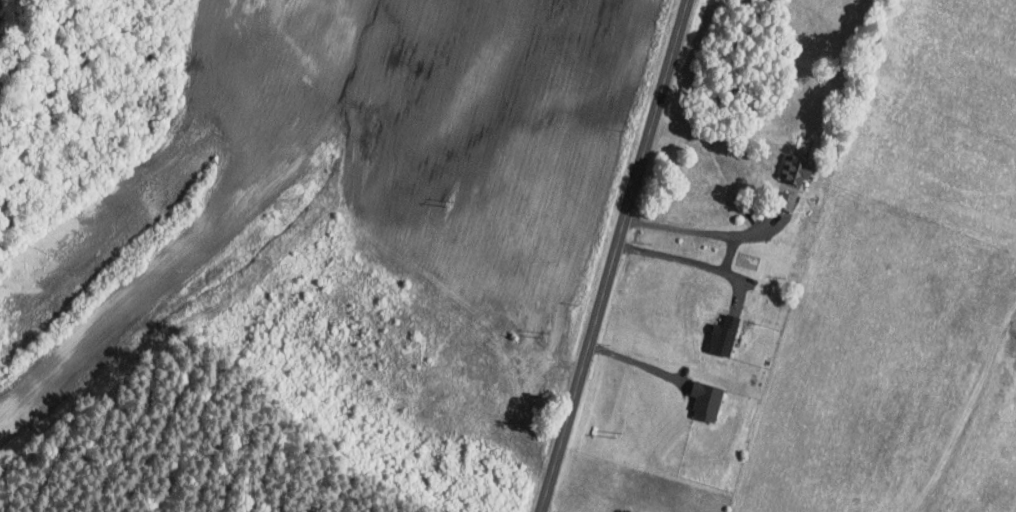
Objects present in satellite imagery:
building: (785, 161)
power tower: (450, 203)
road: (700, 232)
road: (615, 256)
road: (680, 258)
building: (712, 329)
power tower: (546, 335)
road: (636, 363)
building: (696, 393)
power tower: (618, 435)
road: (668, 439)
road: (392, 494)

